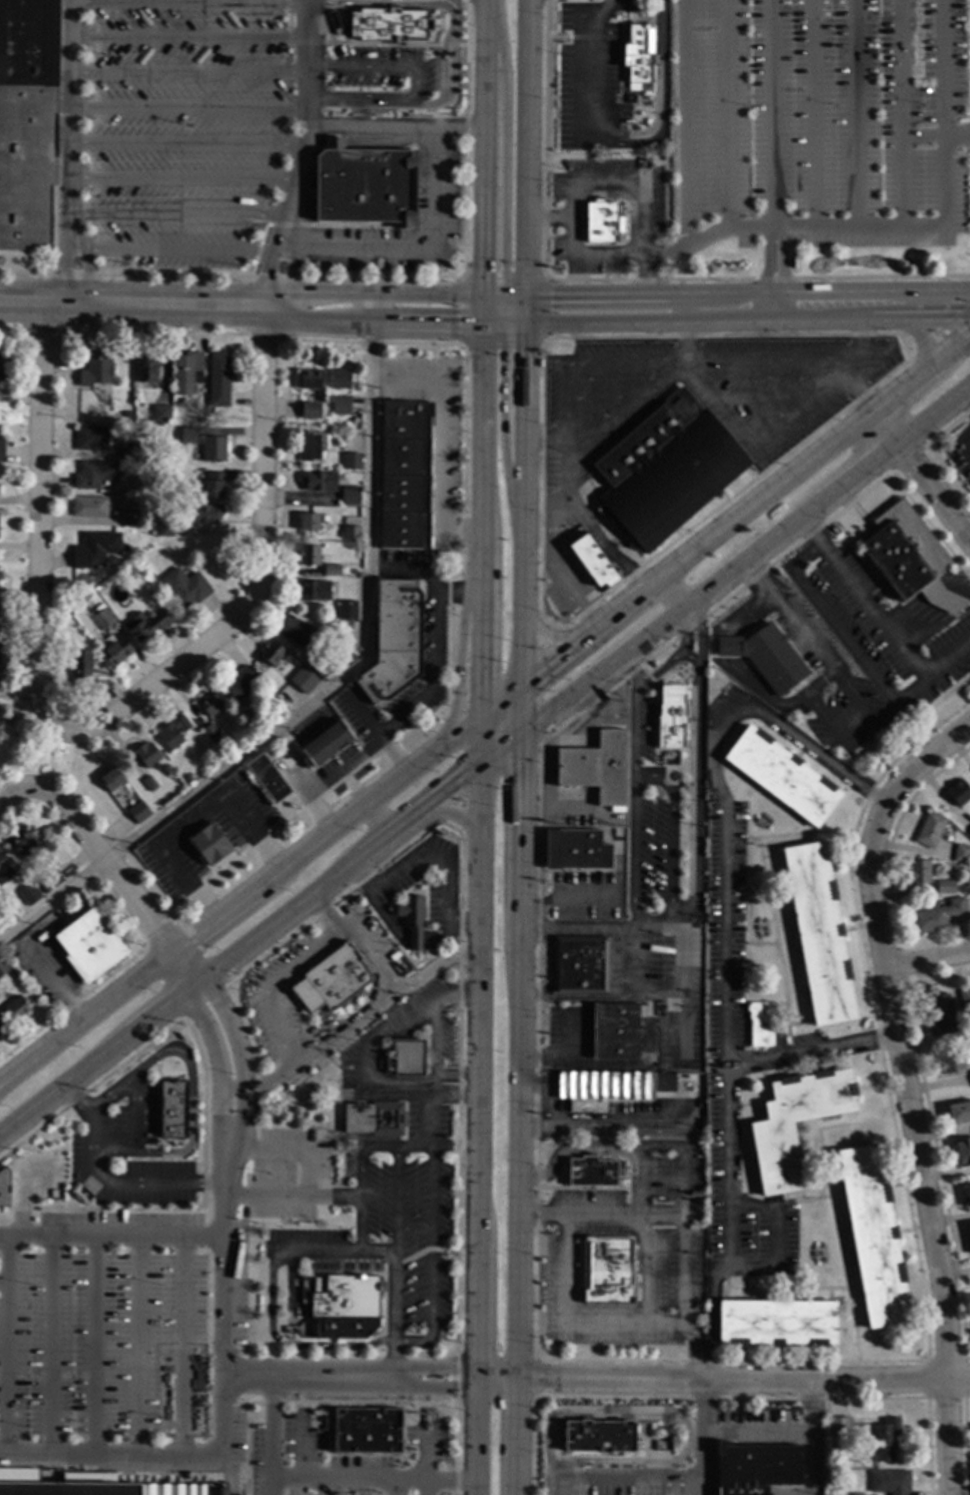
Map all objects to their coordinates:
road: (189, 4)
road: (480, 4)
building: (389, 25)
road: (189, 37)
building: (638, 55)
road: (189, 74)
road: (597, 77)
road: (414, 83)
road: (665, 92)
road: (189, 109)
building: (27, 119)
road: (396, 126)
road: (957, 136)
road: (69, 144)
road: (187, 145)
road: (305, 147)
road: (522, 147)
road: (505, 166)
road: (685, 172)
road: (184, 180)
building: (365, 185)
road: (179, 218)
building: (602, 221)
road: (934, 227)
road: (414, 242)
road: (176, 251)
road: (584, 253)
road: (665, 254)
road: (231, 275)
road: (912, 289)
road: (241, 290)
road: (608, 292)
traffic signals: (484, 293)
road: (502, 293)
traffic signals: (509, 294)
traffic signals: (521, 294)
road: (772, 306)
road: (521, 308)
road: (260, 317)
road: (912, 319)
road: (605, 322)
traffic signals: (483, 323)
traffic signals: (498, 323)
traffic signals: (521, 323)
road: (687, 337)
road: (539, 341)
road: (923, 342)
road: (772, 360)
road: (857, 361)
road: (587, 362)
building: (3, 367)
building: (145, 367)
building: (95, 371)
building: (187, 372)
building: (339, 378)
building: (218, 379)
building: (310, 379)
road: (963, 399)
building: (341, 405)
road: (709, 405)
building: (310, 409)
road: (503, 410)
road: (931, 410)
road: (629, 411)
building: (127, 413)
building: (161, 413)
road: (799, 419)
road: (883, 425)
building: (188, 435)
building: (91, 438)
road: (263, 438)
road: (440, 438)
road: (965, 445)
building: (310, 448)
building: (1, 449)
building: (213, 449)
road: (567, 449)
building: (127, 450)
building: (351, 461)
road: (856, 468)
building: (666, 470)
building: (95, 474)
building: (404, 476)
building: (318, 481)
building: (212, 486)
road: (931, 493)
road: (38, 495)
building: (350, 496)
road: (521, 503)
building: (89, 507)
building: (154, 507)
building: (201, 515)
building: (129, 517)
building: (308, 521)
building: (164, 528)
road: (594, 531)
building: (350, 532)
building: (94, 549)
building: (308, 555)
building: (908, 558)
building: (591, 560)
road: (563, 568)
road: (407, 569)
building: (331, 570)
building: (185, 587)
building: (314, 590)
road: (671, 591)
road: (957, 594)
building: (797, 605)
building: (72, 609)
building: (347, 610)
road: (786, 612)
building: (101, 616)
road: (669, 616)
road: (917, 621)
road: (877, 623)
building: (146, 625)
building: (347, 626)
road: (698, 630)
building: (298, 633)
road: (547, 634)
road: (841, 634)
building: (393, 641)
building: (115, 651)
building: (272, 653)
road: (460, 653)
building: (351, 656)
road: (686, 656)
building: (766, 656)
road: (438, 661)
building: (339, 666)
building: (320, 667)
building: (80, 671)
road: (741, 677)
building: (303, 680)
building: (239, 683)
traffic signals: (521, 683)
road: (155, 684)
road: (327, 688)
building: (210, 704)
building: (917, 705)
road: (487, 709)
road: (520, 709)
building: (283, 710)
traffic signals: (482, 714)
building: (670, 718)
building: (182, 724)
road: (374, 732)
building: (210, 733)
building: (247, 734)
traffic signals: (520, 735)
road: (864, 736)
building: (170, 738)
building: (326, 743)
road: (480, 747)
building: (147, 754)
road: (549, 754)
road: (49, 757)
road: (345, 768)
traffic signals: (480, 768)
building: (597, 769)
road: (470, 774)
building: (782, 776)
building: (267, 778)
building: (110, 779)
road: (7, 784)
building: (149, 784)
building: (958, 792)
road: (15, 793)
road: (307, 796)
road: (693, 802)
building: (138, 812)
road: (450, 812)
road: (573, 815)
road: (193, 818)
road: (376, 819)
road: (874, 826)
building: (929, 830)
building: (969, 833)
road: (388, 835)
building: (22, 842)
building: (207, 842)
building: (575, 850)
road: (433, 852)
building: (961, 853)
road: (631, 865)
building: (5, 871)
building: (918, 871)
road: (118, 877)
building: (52, 879)
building: (944, 887)
building: (29, 894)
road: (304, 898)
road: (560, 903)
building: (4, 913)
building: (936, 916)
road: (322, 917)
building: (411, 920)
road: (576, 929)
building: (818, 933)
road: (354, 938)
building: (90, 945)
road: (723, 947)
building: (393, 957)
road: (927, 959)
road: (222, 960)
road: (438, 964)
building: (580, 965)
building: (3, 968)
building: (329, 981)
road: (678, 992)
road: (651, 996)
road: (456, 997)
road: (571, 997)
building: (964, 999)
road: (159, 1007)
building: (16, 1009)
building: (939, 1014)
building: (760, 1023)
road: (409, 1028)
building: (0, 1030)
building: (0, 1031)
building: (615, 1031)
road: (435, 1043)
road: (809, 1048)
road: (552, 1051)
road: (237, 1054)
building: (404, 1058)
road: (215, 1059)
building: (951, 1062)
road: (630, 1064)
road: (63, 1082)
road: (267, 1083)
building: (610, 1087)
road: (616, 1088)
road: (552, 1090)
road: (230, 1091)
road: (403, 1091)
road: (191, 1092)
road: (450, 1096)
road: (549, 1106)
building: (172, 1109)
building: (958, 1112)
road: (134, 1113)
road: (518, 1114)
building: (374, 1118)
road: (424, 1119)
road: (644, 1126)
building: (773, 1140)
road: (571, 1147)
road: (380, 1148)
road: (414, 1148)
building: (962, 1151)
building: (592, 1171)
road: (305, 1177)
road: (104, 1182)
building: (3, 1187)
road: (431, 1188)
road: (20, 1192)
building: (967, 1194)
road: (333, 1196)
road: (613, 1217)
building: (969, 1228)
road: (929, 1230)
road: (776, 1235)
road: (110, 1236)
building: (872, 1236)
road: (682, 1245)
road: (333, 1254)
building: (606, 1270)
road: (2, 1283)
road: (431, 1284)
building: (345, 1296)
road: (394, 1315)
road: (602, 1322)
road: (661, 1323)
building: (776, 1323)
road: (5, 1343)
road: (49, 1344)
road: (95, 1344)
road: (137, 1345)
road: (182, 1345)
road: (289, 1347)
road: (231, 1375)
road: (723, 1381)
road: (222, 1415)
building: (839, 1427)
road: (696, 1428)
road: (779, 1428)
building: (366, 1430)
road: (272, 1435)
building: (599, 1436)
road: (703, 1438)
building: (885, 1439)
road: (547, 1451)
road: (111, 1453)
road: (427, 1454)
road: (807, 1462)
building: (754, 1467)
road: (660, 1471)
road: (232, 1473)
road: (562, 1473)
building: (827, 1474)
road: (373, 1478)
road: (623, 1479)
building: (889, 1481)
building: (85, 1486)
road: (398, 1487)
road: (427, 1487)

